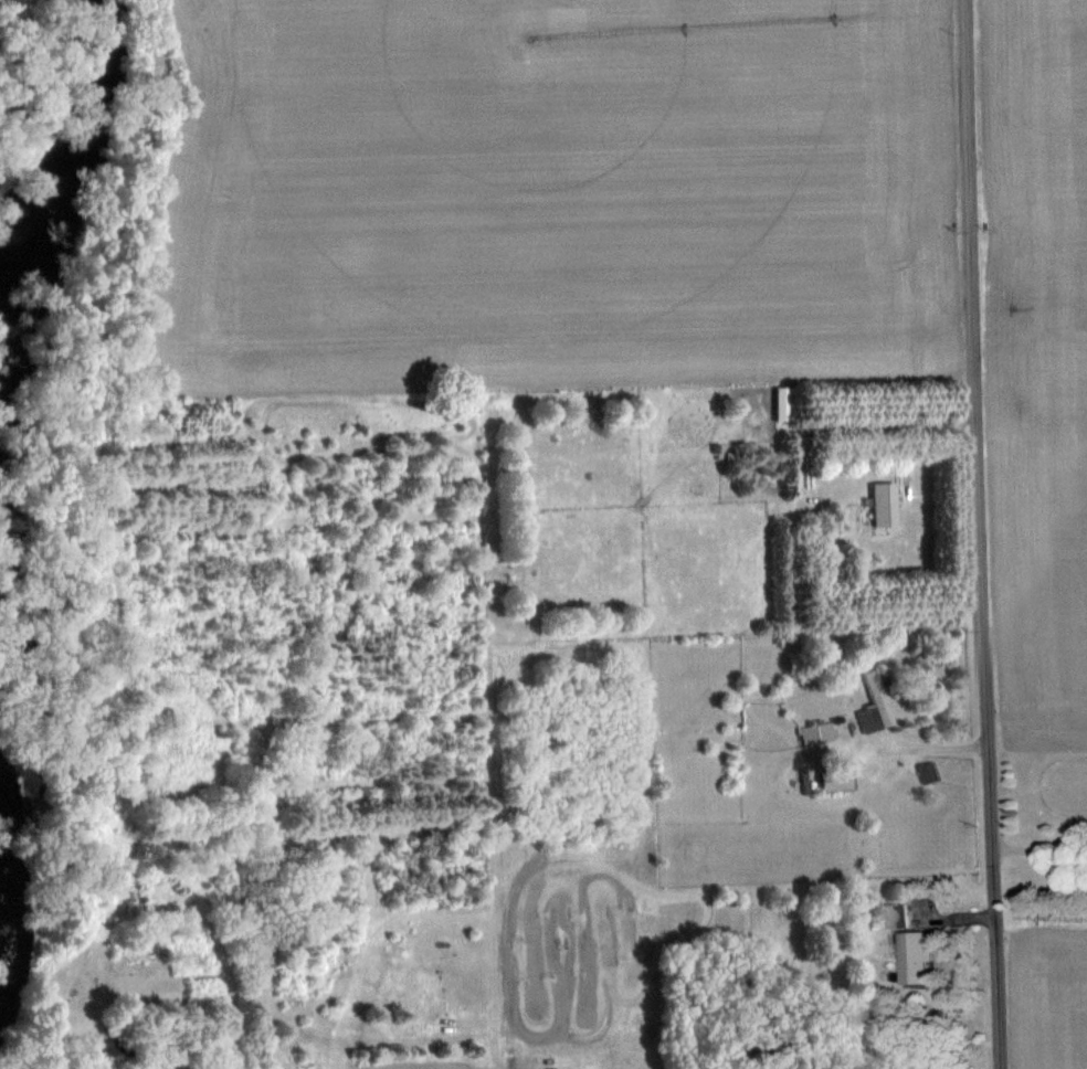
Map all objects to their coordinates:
river: (82, 133)
building: (784, 401)
building: (883, 504)
road: (981, 534)
building: (875, 705)
building: (819, 733)
building: (928, 771)
road: (1039, 843)
building: (895, 914)
building: (918, 955)
building: (103, 976)

